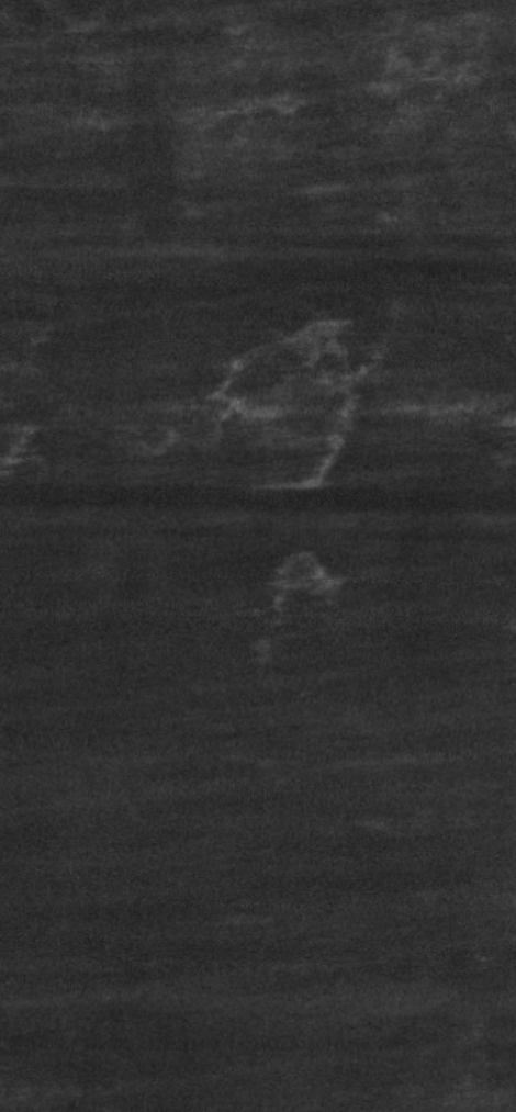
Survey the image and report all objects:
crop: (258, 555)

